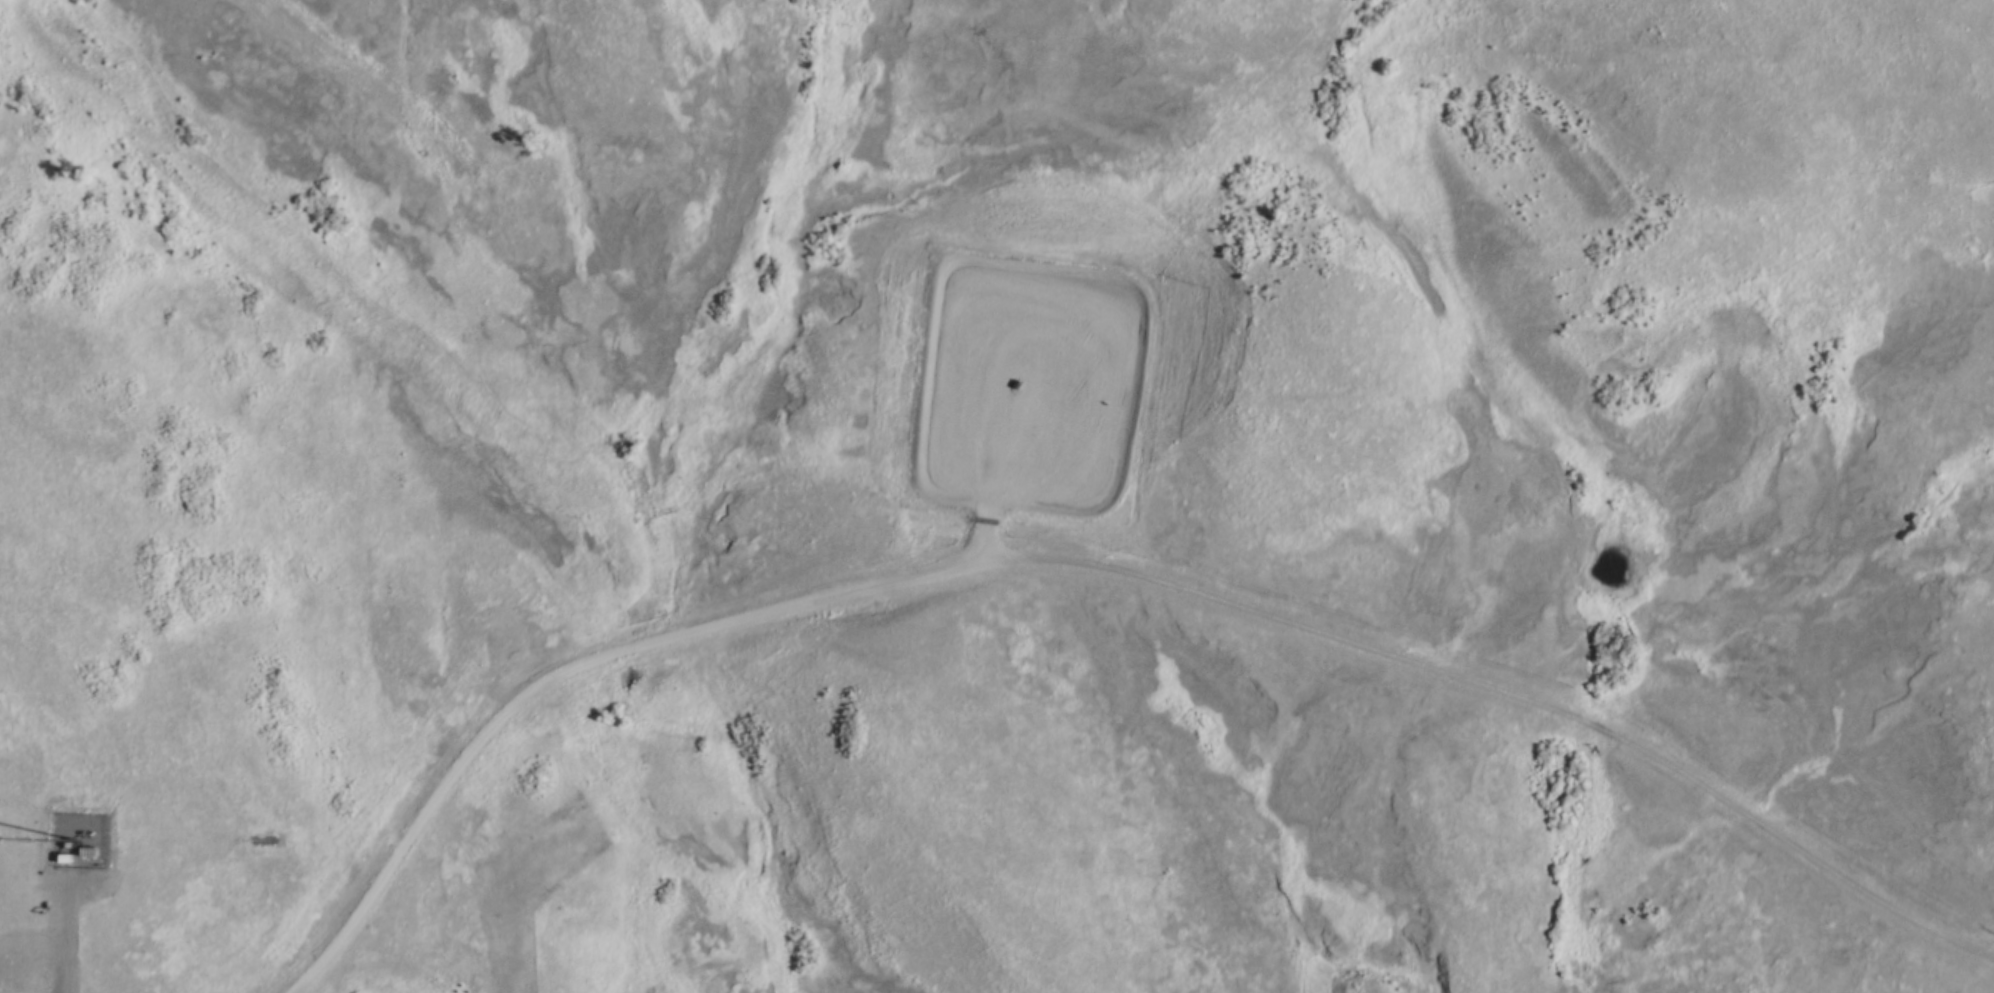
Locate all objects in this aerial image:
road: (1107, 564)

